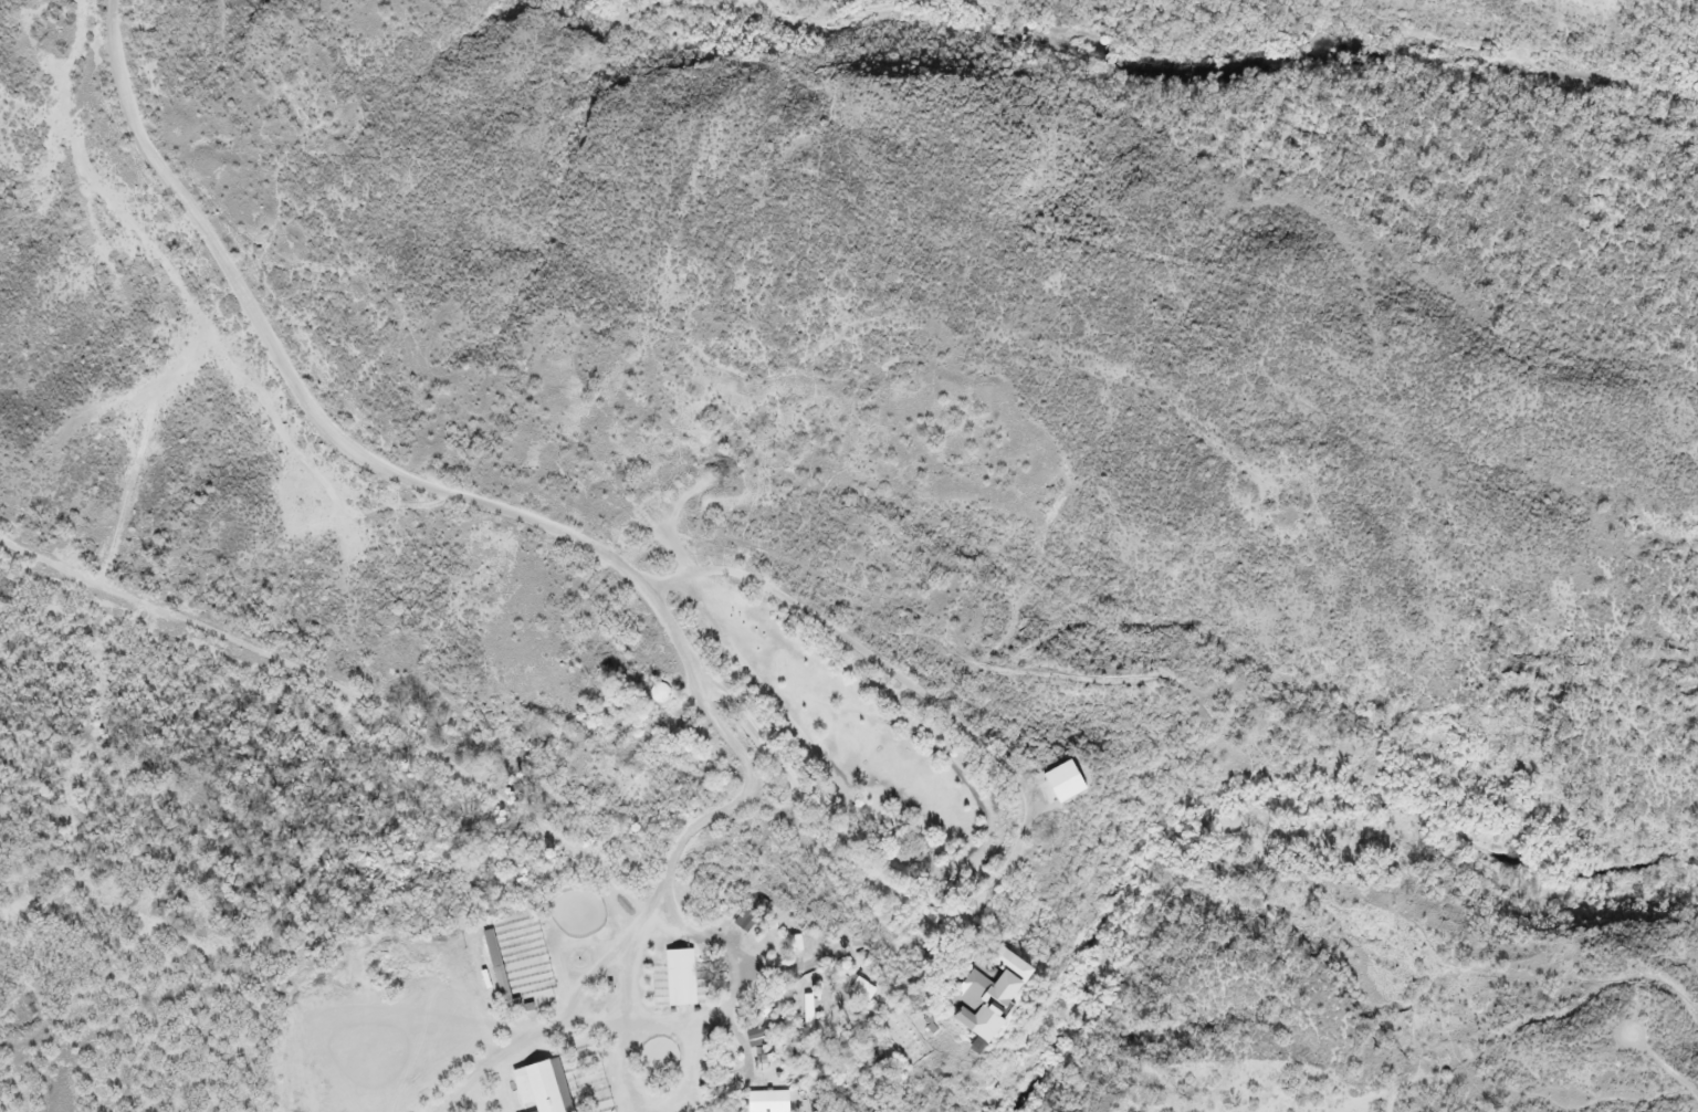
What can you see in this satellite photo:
road: (518, 544)
building: (1059, 773)
building: (500, 975)
building: (983, 978)
building: (766, 1095)

